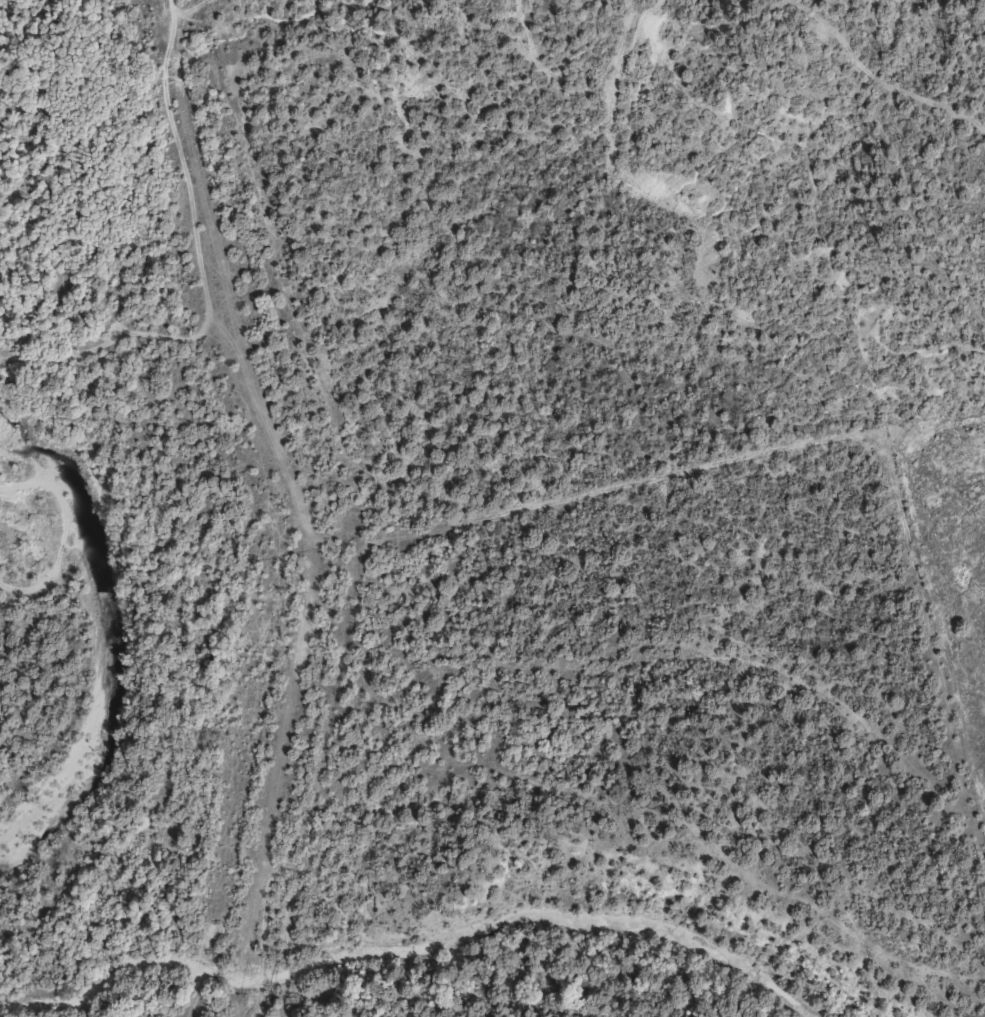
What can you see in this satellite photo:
road: (547, 655)

